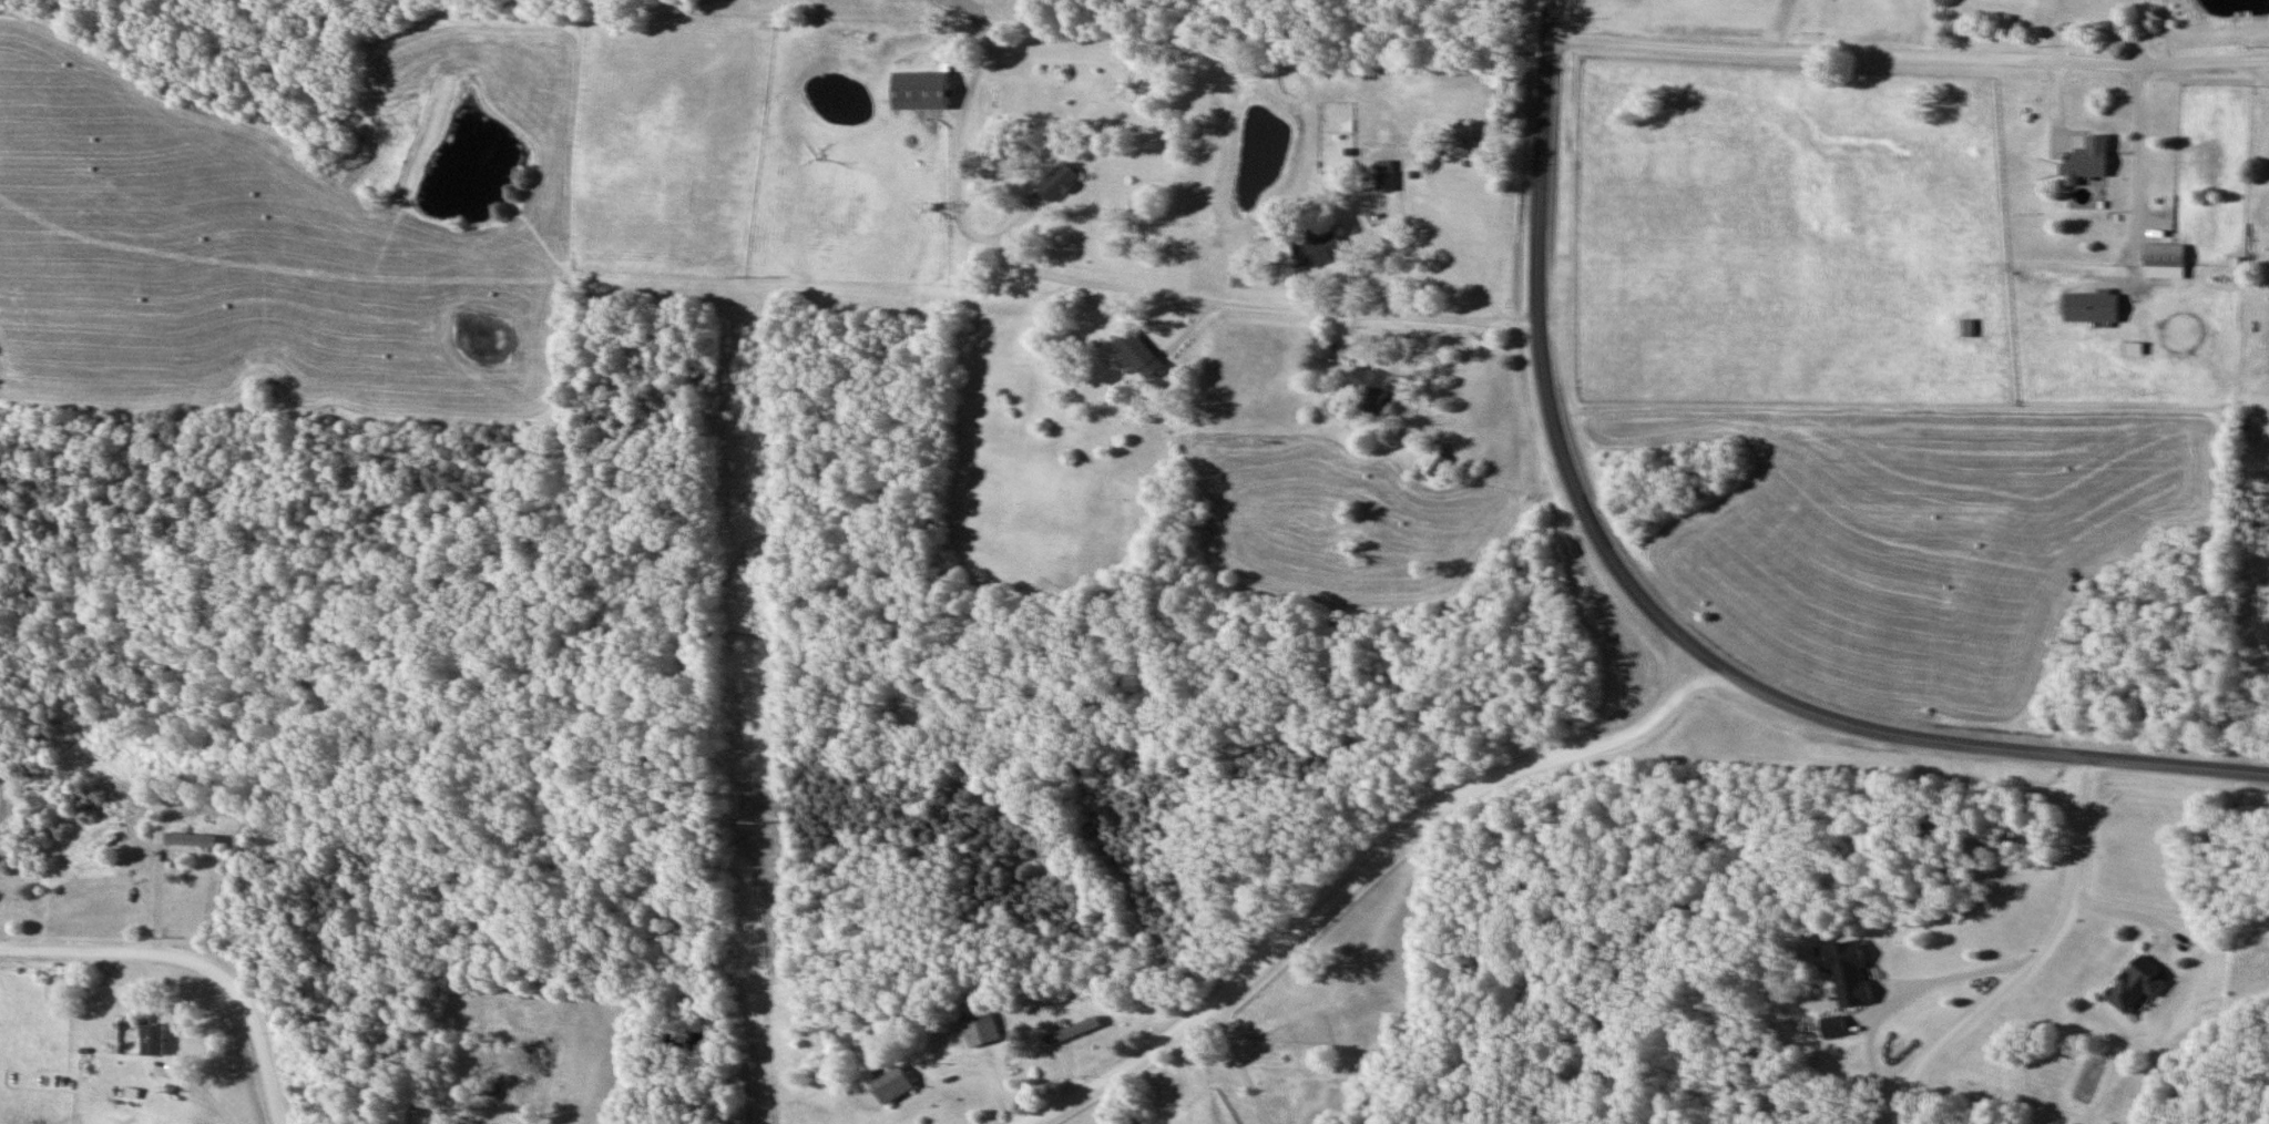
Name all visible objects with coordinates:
road: (2143, 32)
road: (1909, 55)
building: (916, 91)
building: (1463, 135)
building: (2087, 160)
road: (2137, 160)
building: (1384, 175)
building: (1056, 183)
building: (1317, 249)
building: (2164, 262)
road: (1476, 265)
power tower: (742, 273)
road: (1237, 287)
building: (2091, 307)
building: (972, 324)
building: (1139, 352)
road: (1541, 352)
building: (1366, 384)
building: (1433, 463)
road: (1975, 745)
power tower: (753, 822)
road: (1360, 875)
road: (196, 959)
road: (2034, 960)
road: (1951, 972)
building: (1850, 973)
building: (2135, 983)
building: (1833, 1026)
building: (980, 1028)
building: (153, 1038)
road: (1250, 1062)
building: (893, 1085)

